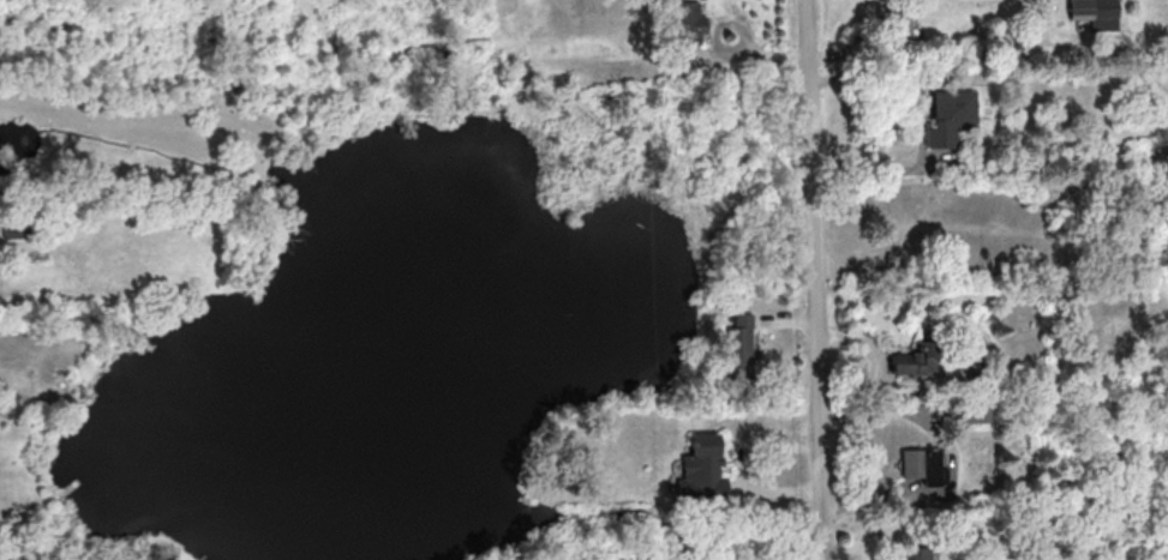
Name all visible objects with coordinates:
building: (1094, 12)
building: (898, 25)
building: (683, 29)
road: (832, 34)
road: (870, 78)
building: (948, 115)
road: (865, 171)
road: (811, 279)
building: (737, 347)
building: (917, 360)
building: (965, 411)
building: (923, 464)
building: (700, 469)
building: (915, 553)

